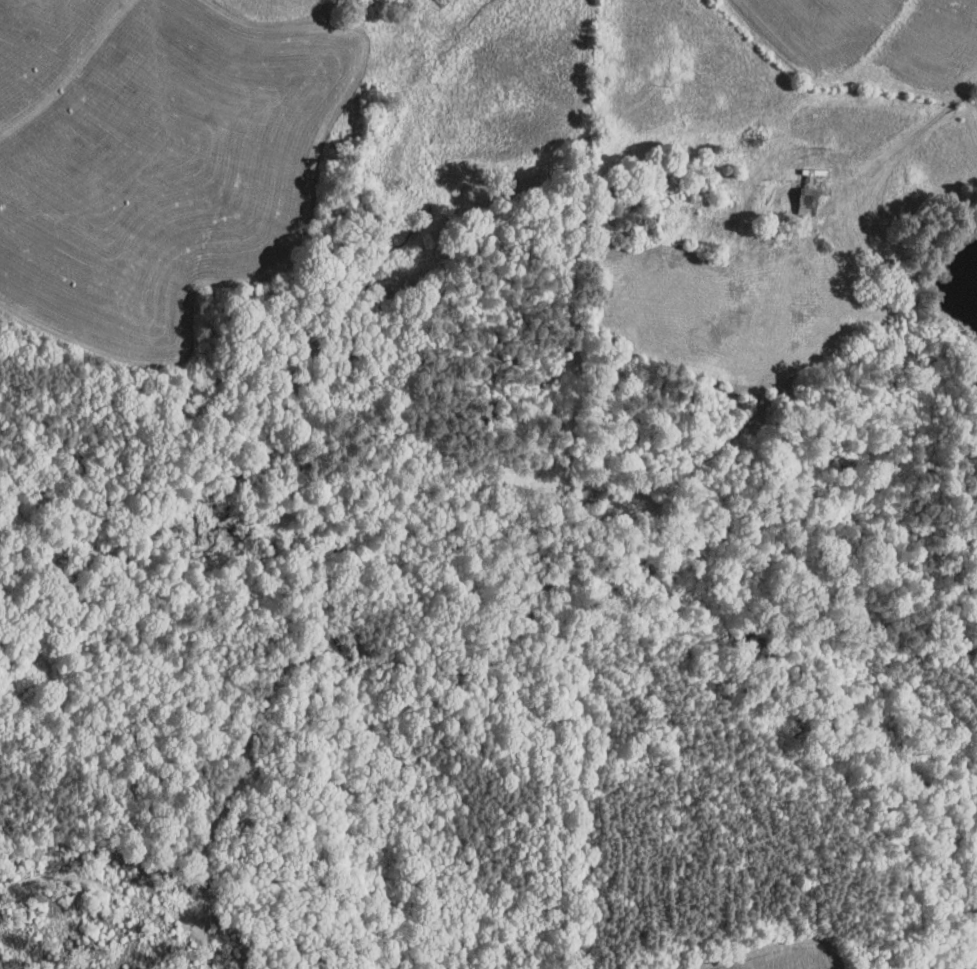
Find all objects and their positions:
road: (916, 135)
building: (798, 189)

